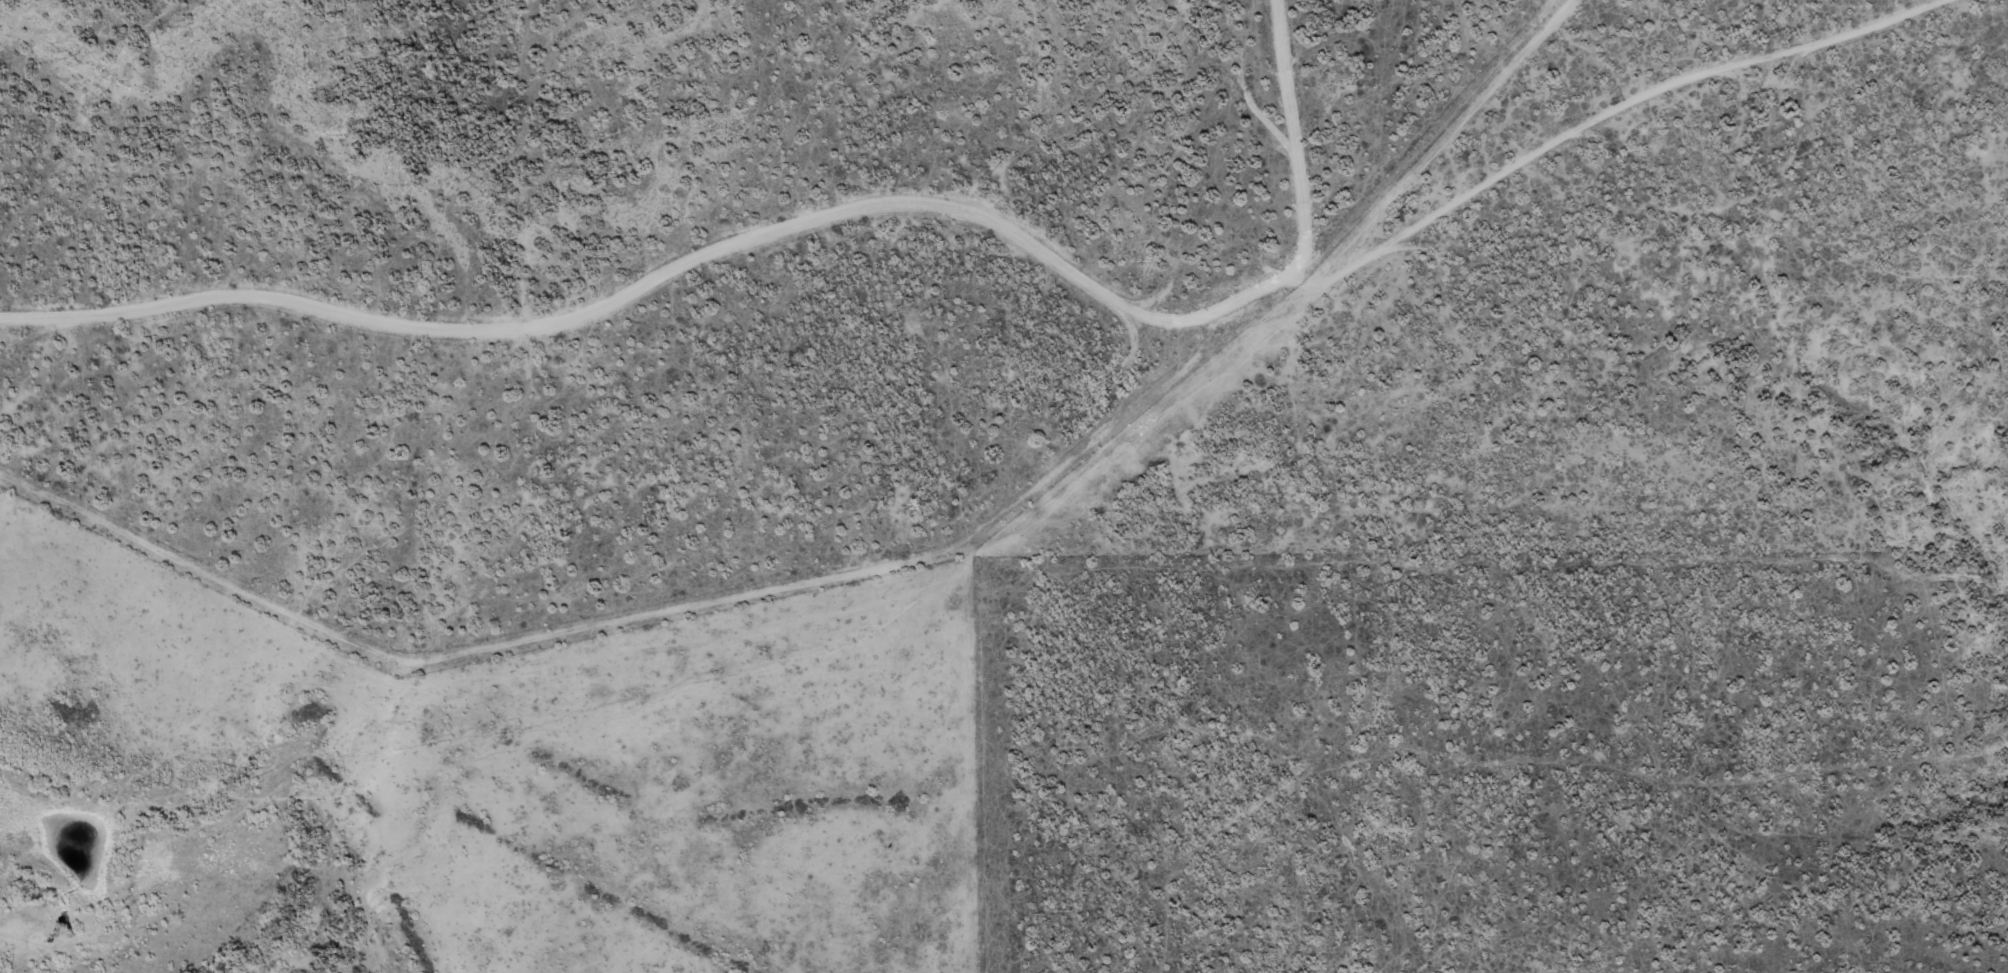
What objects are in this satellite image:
road: (1273, 143)
road: (1006, 255)

